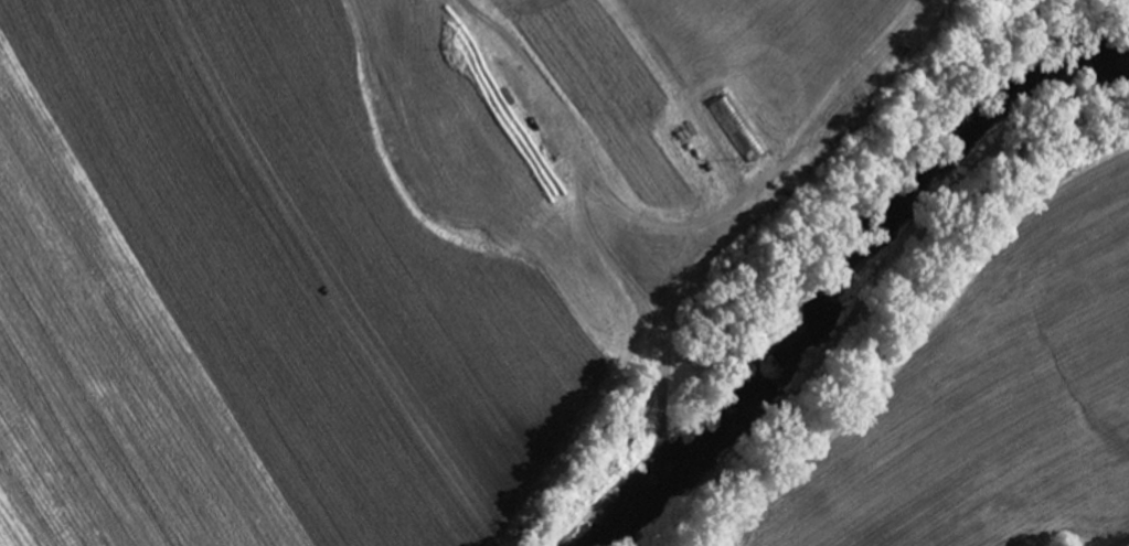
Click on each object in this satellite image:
building: (741, 127)
road: (582, 161)
river: (844, 256)
road: (661, 418)

